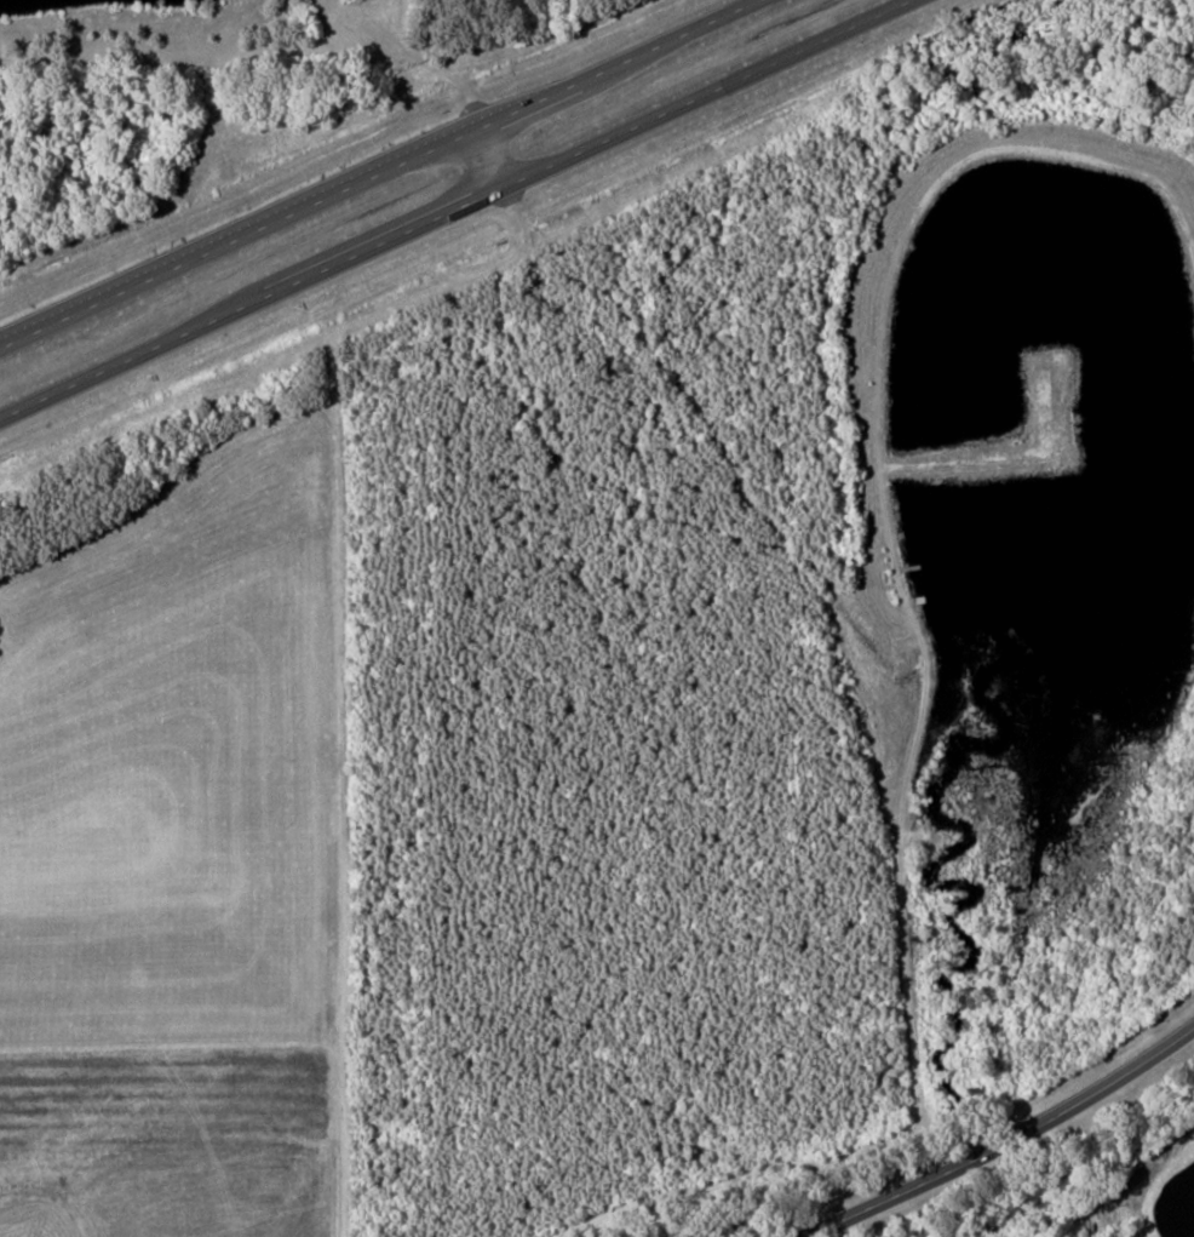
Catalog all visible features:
road: (616, 64)
road: (704, 93)
road: (489, 158)
road: (239, 237)
road: (343, 258)
road: (92, 374)
road: (1016, 1133)
road: (817, 1229)
road: (803, 1235)

